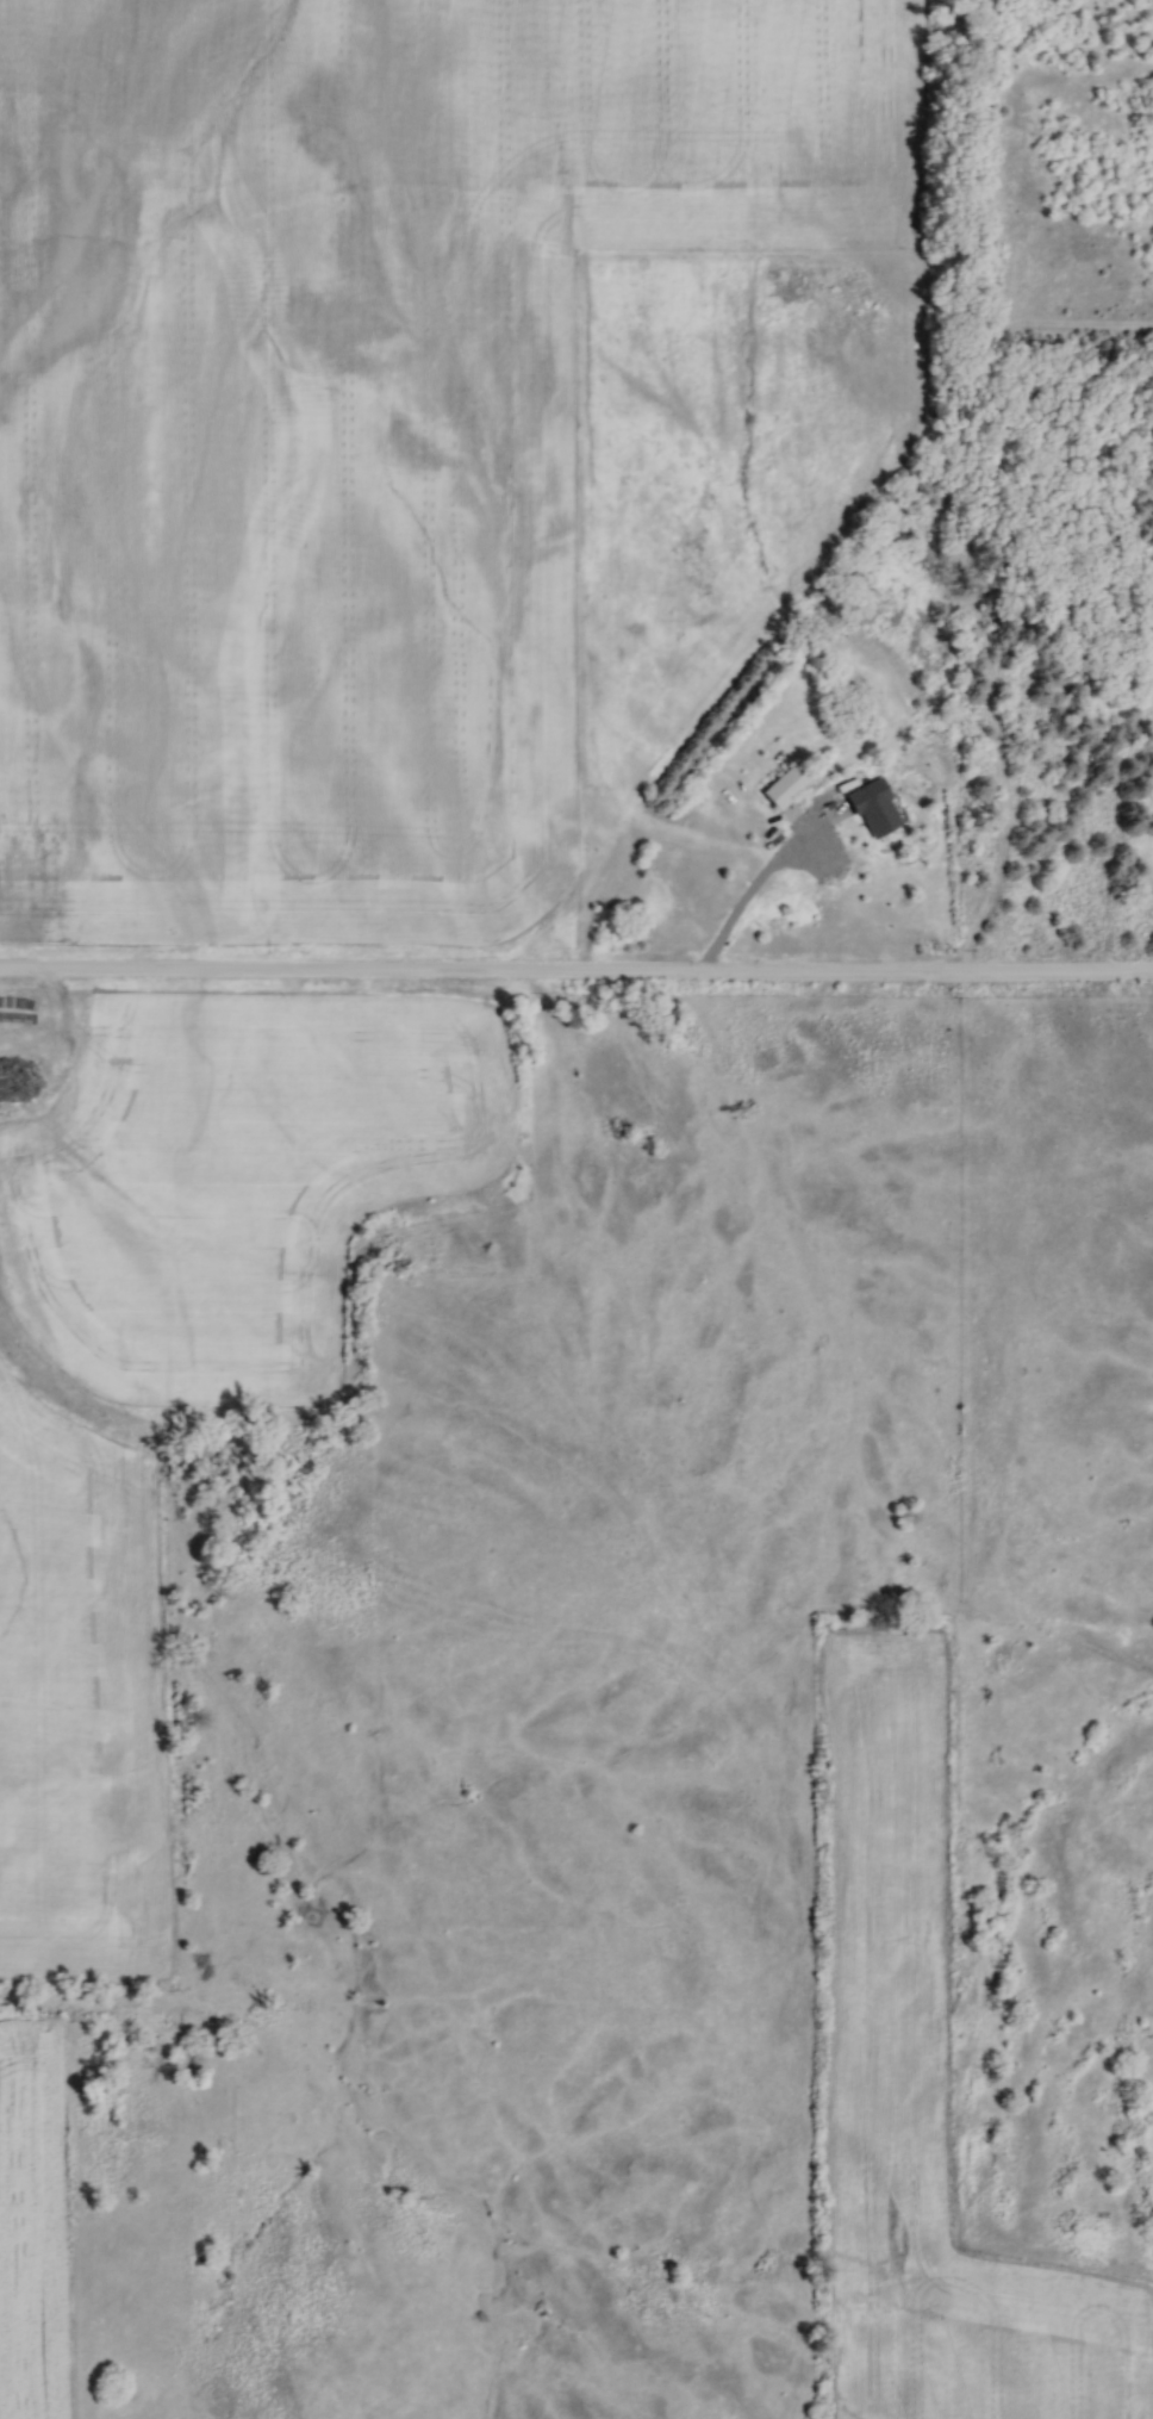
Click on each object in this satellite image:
building: (786, 791)
building: (874, 809)
road: (783, 844)
road: (731, 916)
road: (575, 968)

